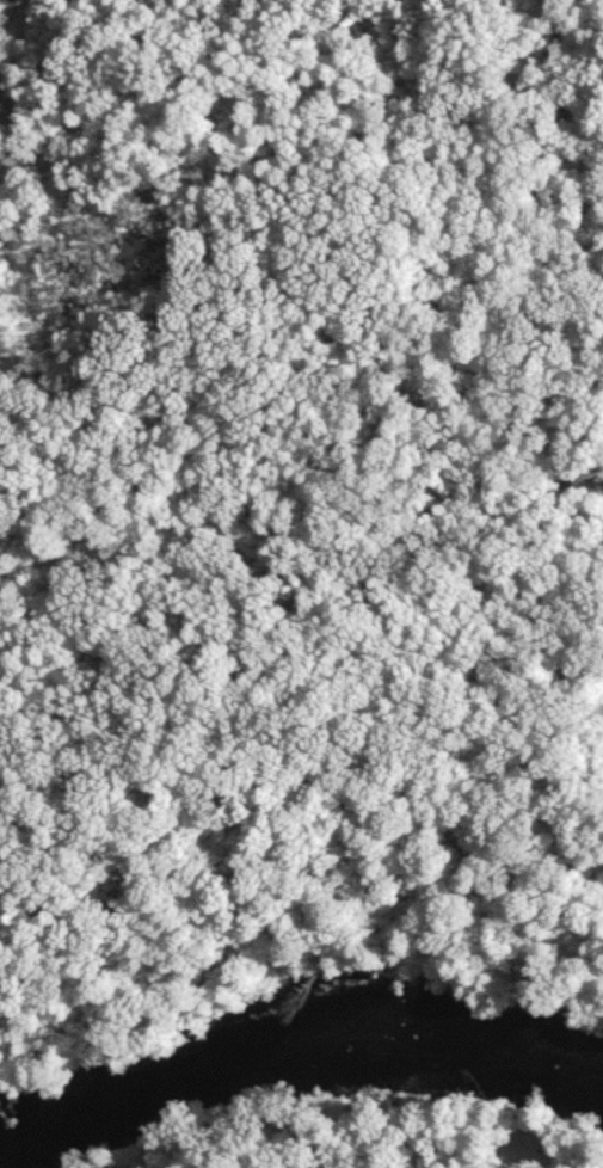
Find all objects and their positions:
river: (297, 1053)

